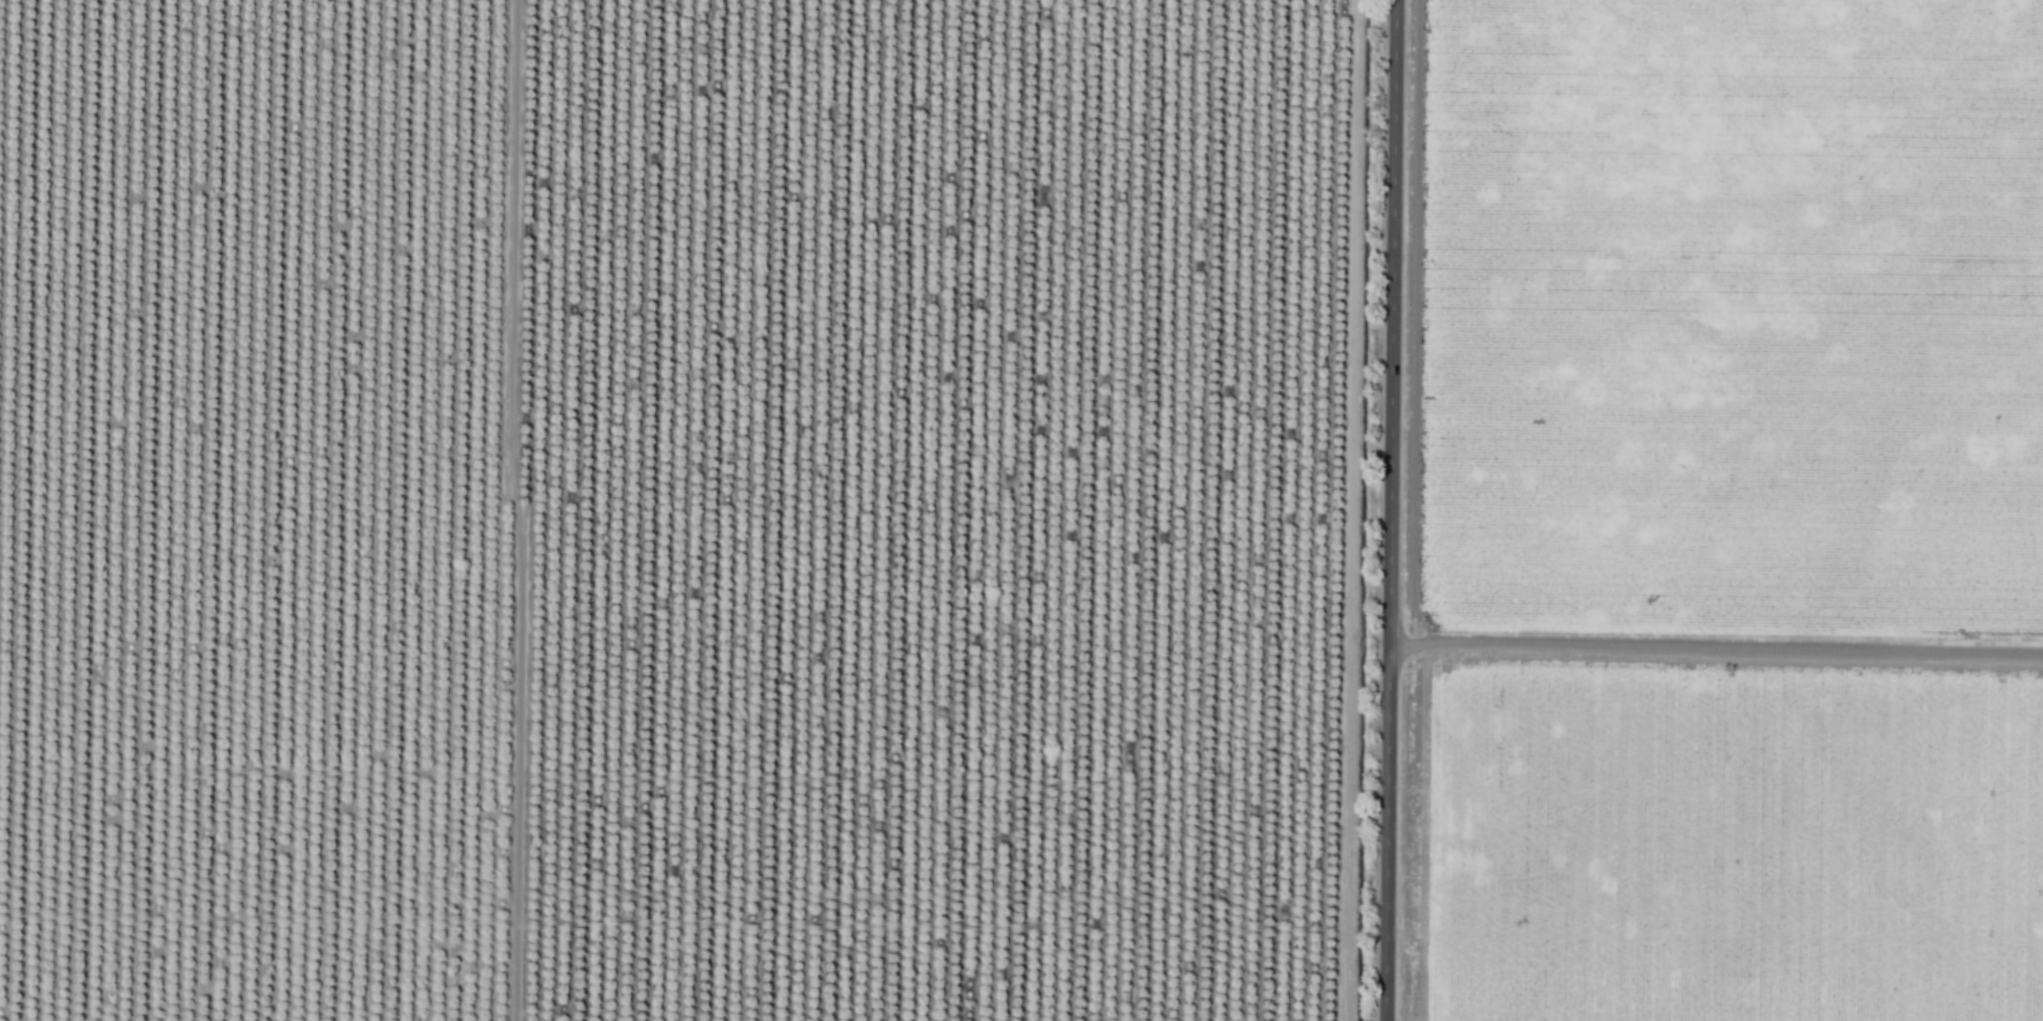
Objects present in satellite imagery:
road: (1390, 510)
road: (1715, 649)

